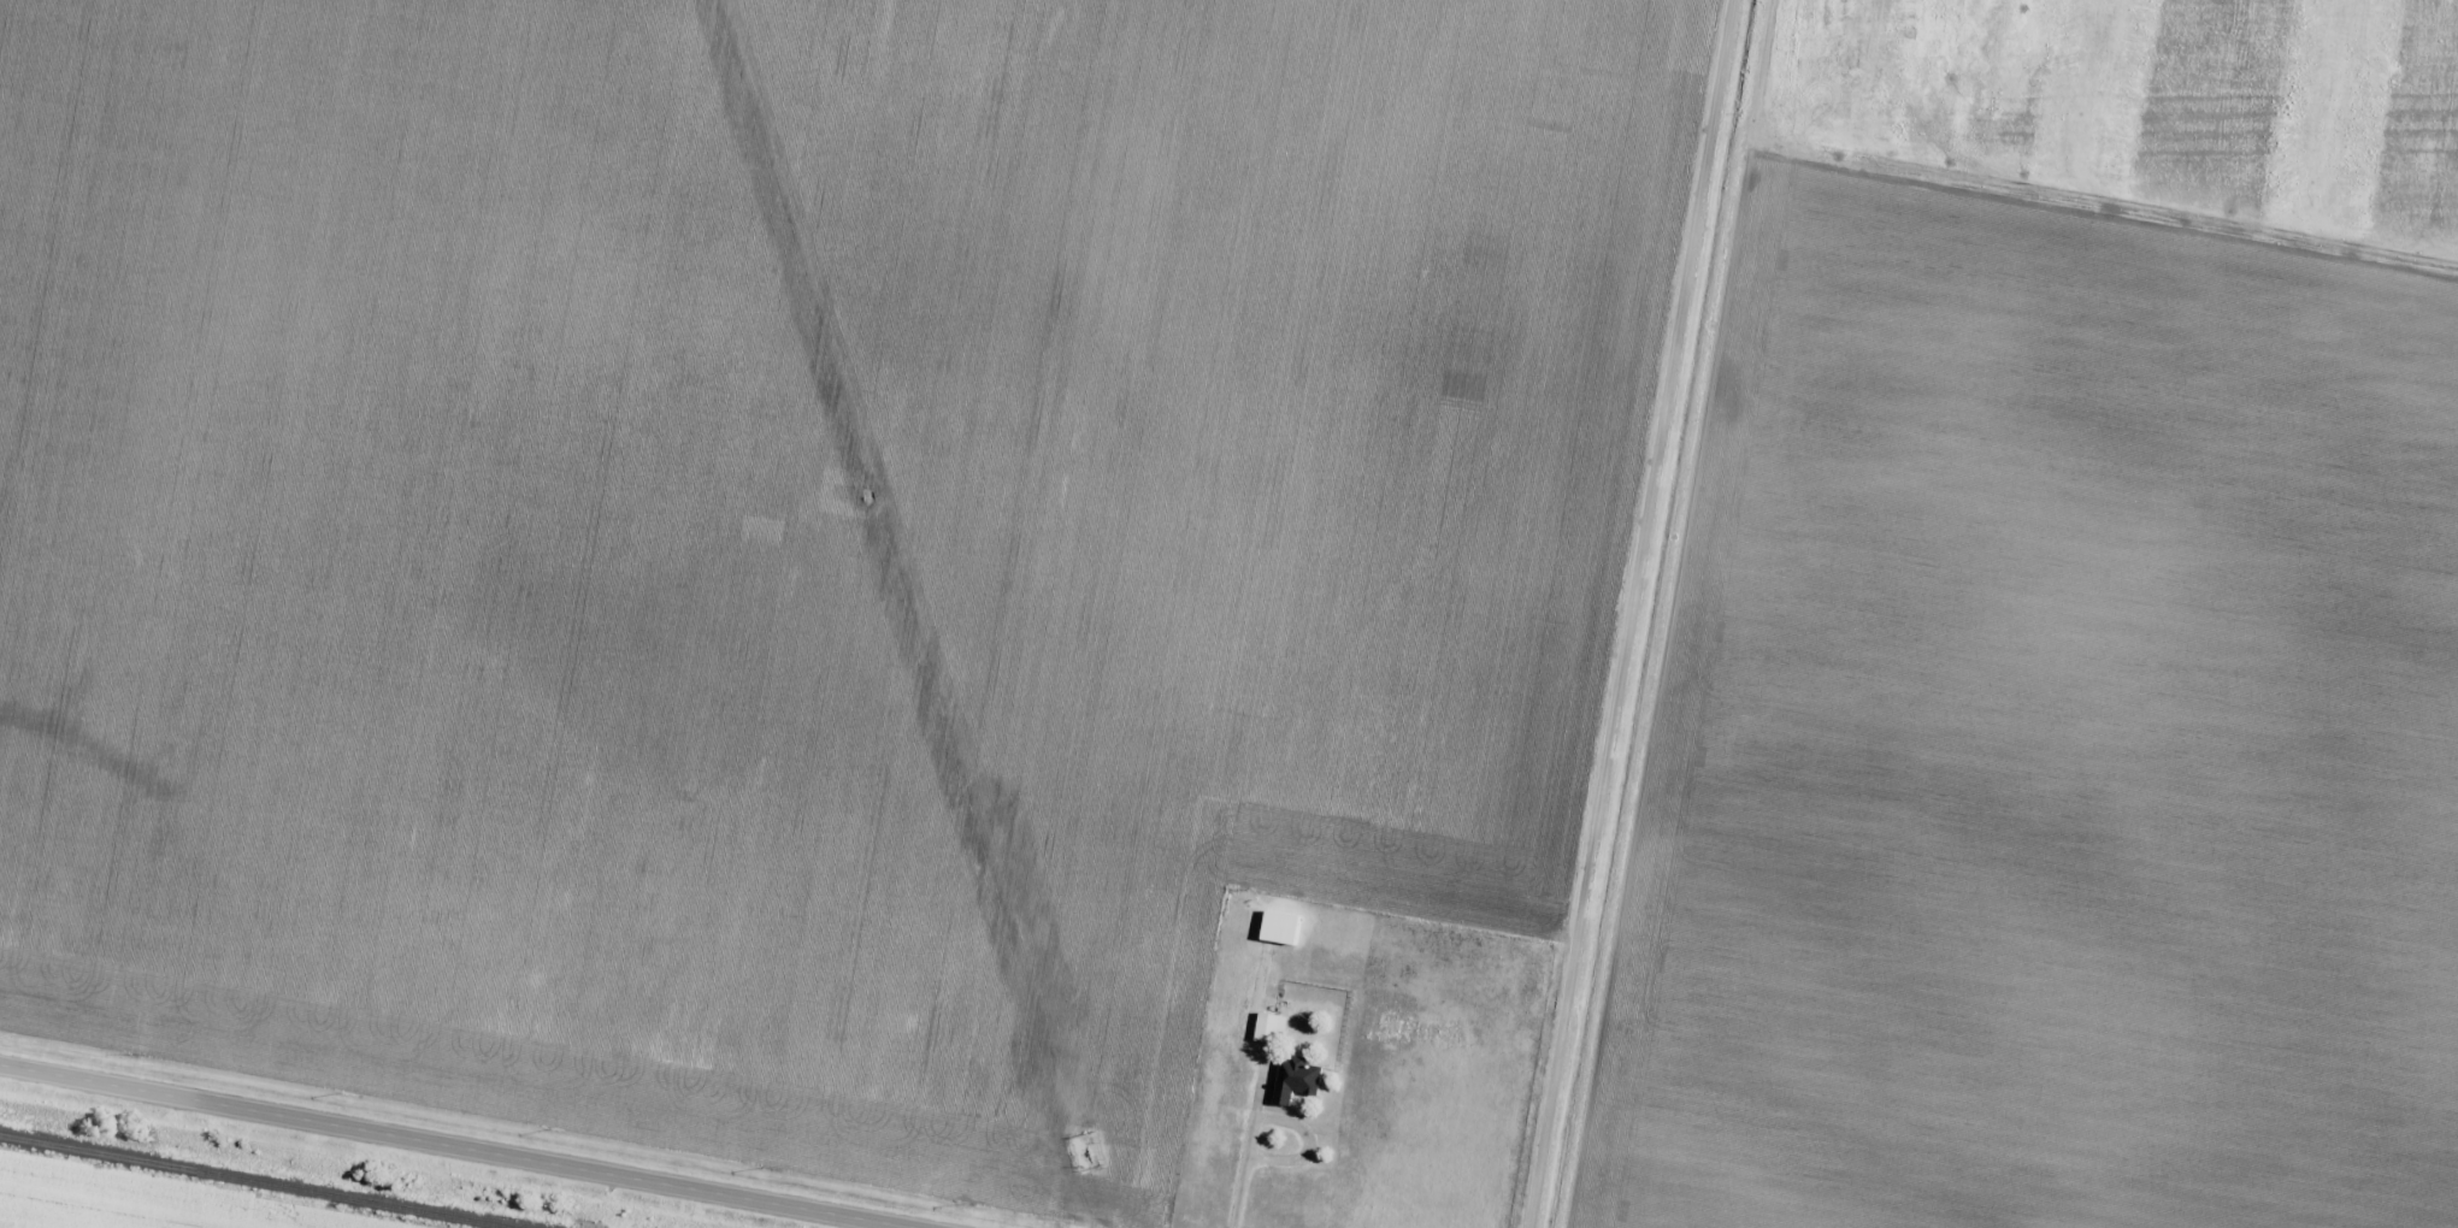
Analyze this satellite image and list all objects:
road: (1638, 614)
building: (1269, 1028)
building: (1293, 1080)
road: (461, 1146)
railway: (261, 1181)

